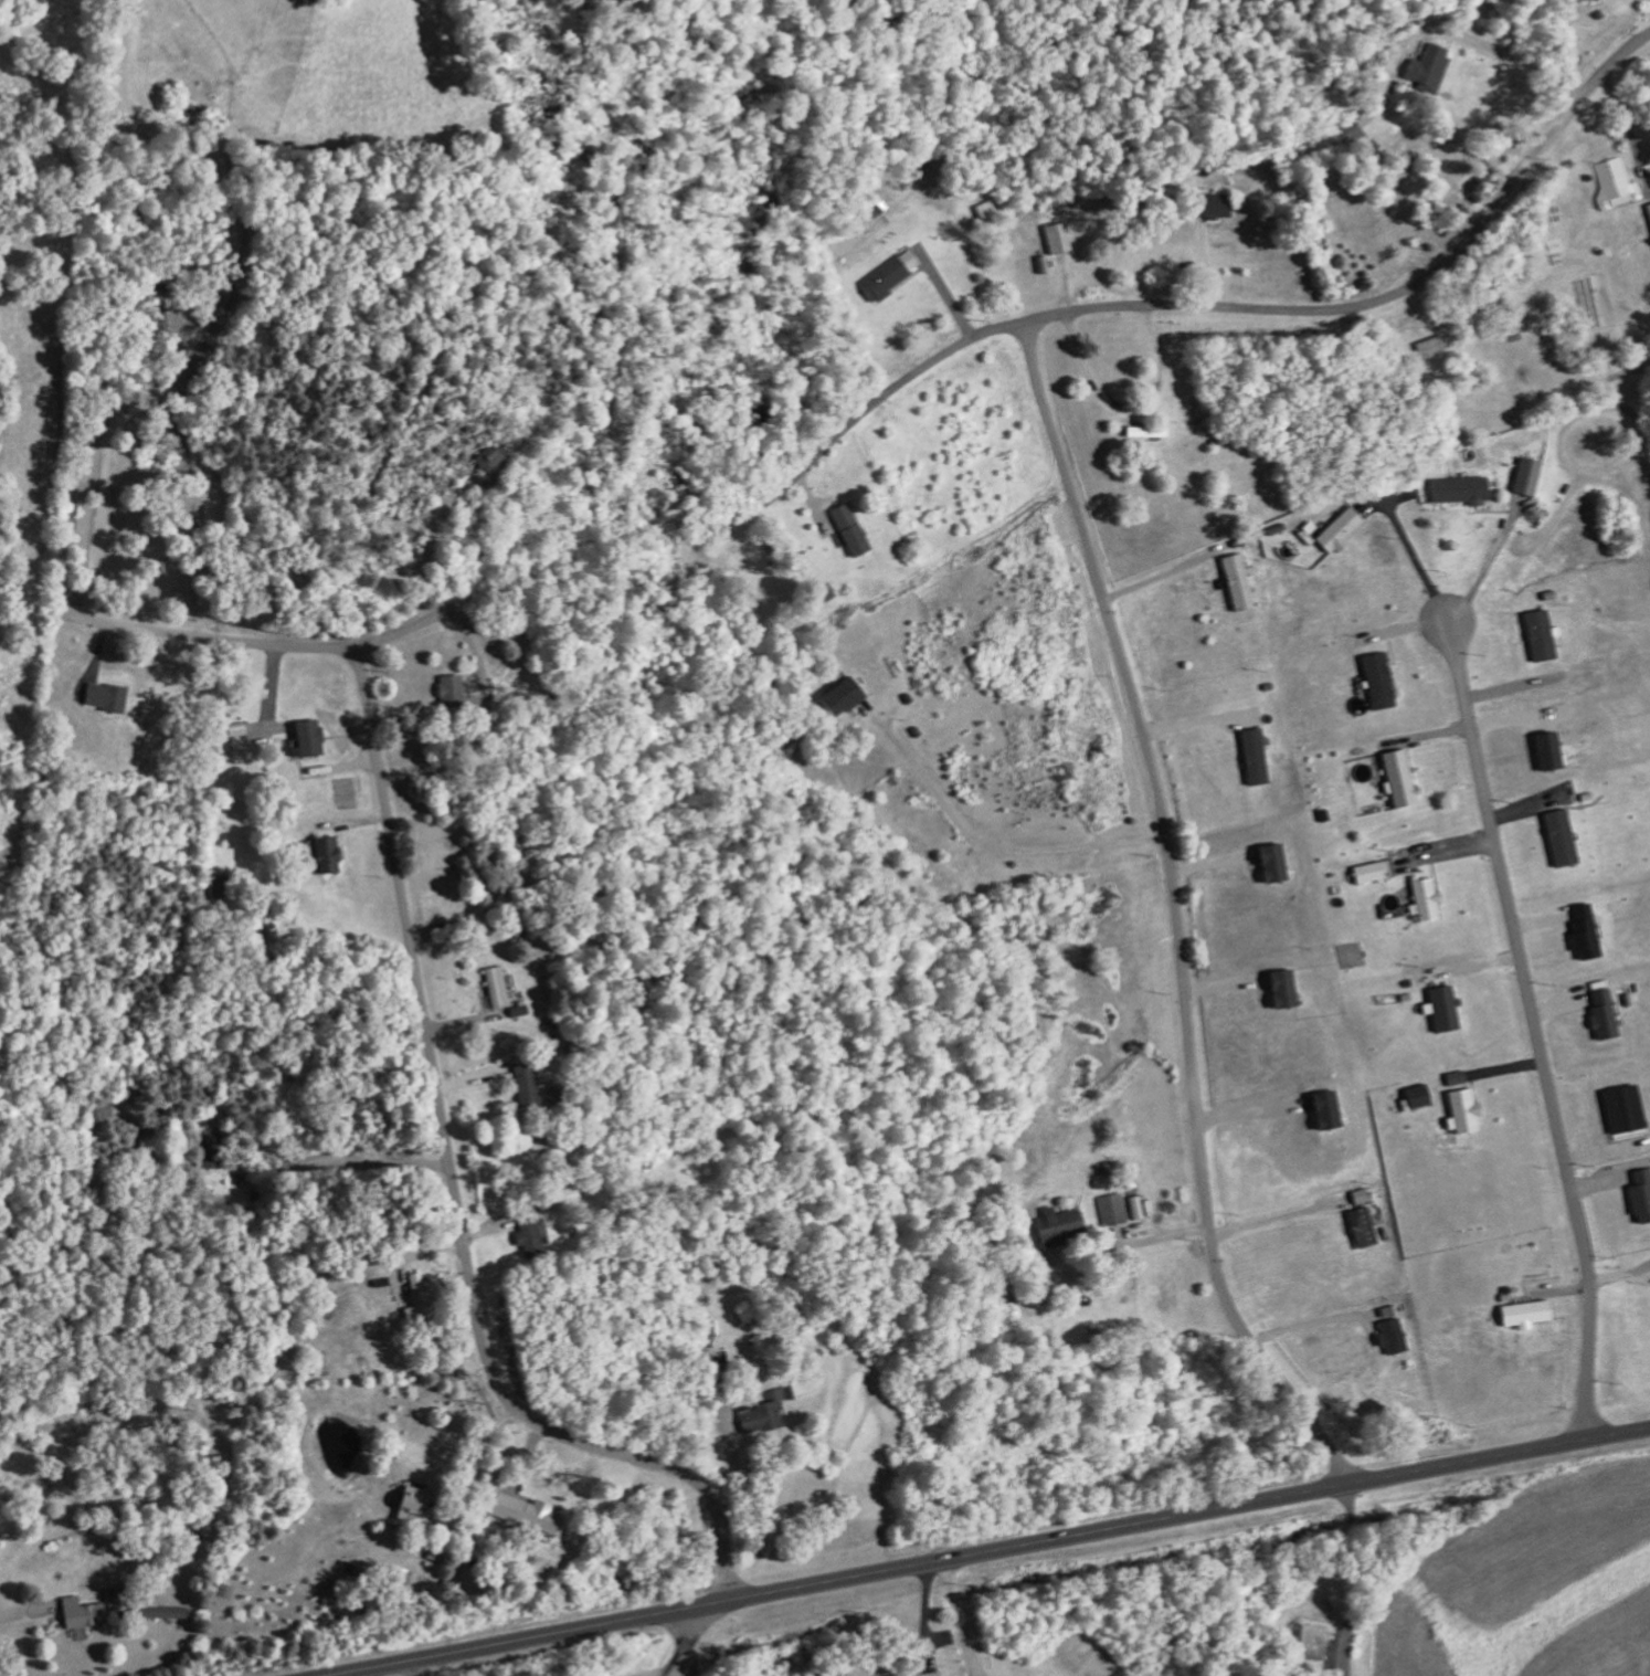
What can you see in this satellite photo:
road: (1519, 59)
building: (1425, 67)
building: (1351, 133)
building: (1615, 183)
building: (1212, 205)
building: (1648, 210)
building: (985, 211)
building: (1057, 238)
building: (888, 274)
road: (1229, 309)
building: (1429, 347)
road: (1131, 405)
building: (494, 457)
building: (1524, 476)
building: (1458, 491)
building: (847, 529)
building: (1336, 530)
road: (1416, 561)
road: (1482, 571)
road: (1156, 576)
building: (1234, 582)
building: (819, 594)
building: (1536, 634)
road: (263, 645)
building: (1374, 681)
building: (448, 689)
building: (103, 696)
building: (840, 696)
road: (469, 714)
building: (229, 738)
building: (304, 739)
building: (1543, 751)
building: (1250, 757)
building: (1395, 778)
building: (1557, 837)
road: (996, 846)
building: (319, 855)
building: (1267, 863)
building: (1366, 873)
building: (1424, 899)
road: (1178, 915)
building: (1582, 932)
building: (497, 987)
building: (1278, 990)
building: (1439, 1009)
building: (1599, 1015)
road: (1536, 1029)
building: (1453, 1078)
building: (525, 1084)
building: (1414, 1097)
building: (1620, 1109)
building: (1320, 1110)
building: (1460, 1110)
road: (457, 1191)
building: (1357, 1197)
building: (1639, 1197)
building: (1133, 1208)
building: (1111, 1210)
road: (1274, 1214)
building: (1056, 1227)
building: (1360, 1227)
building: (529, 1237)
building: (417, 1285)
building: (1522, 1315)
road: (1310, 1324)
building: (1388, 1337)
building: (406, 1500)
building: (520, 1512)
road: (66, 1529)
road: (994, 1552)
road: (1350, 1581)
building: (158, 1611)
building: (78, 1613)
road: (960, 1616)
building: (1312, 1642)
road: (685, 1645)
road: (975, 1673)
road: (977, 1673)
building: (916, 1674)

